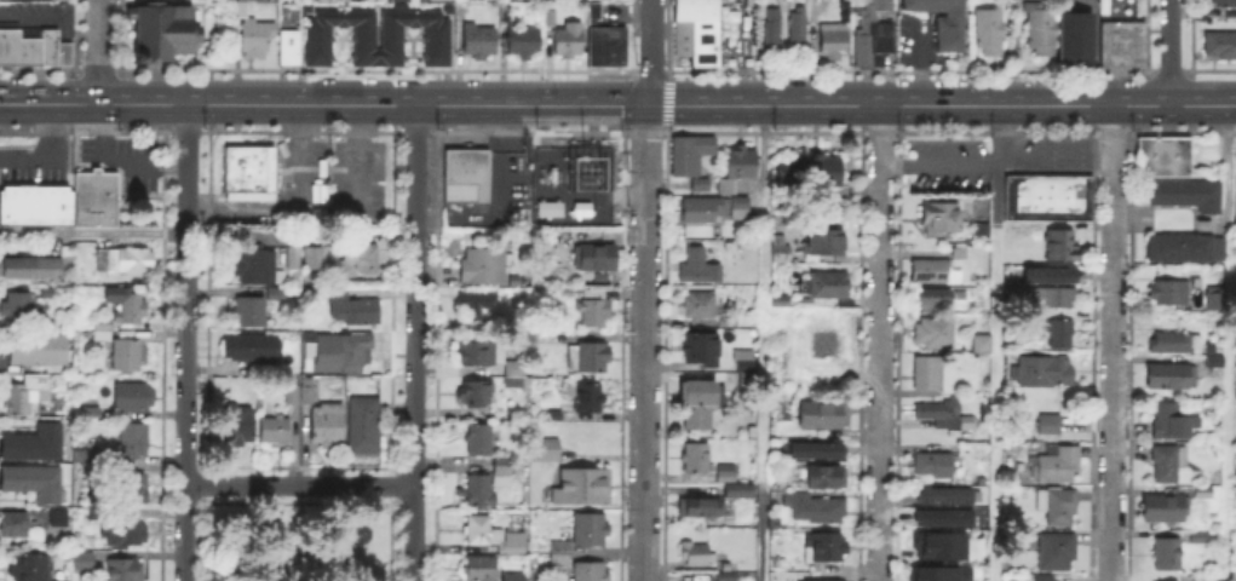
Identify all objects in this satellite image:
building: (59, 0)
building: (247, 1)
building: (10, 4)
building: (1223, 5)
building: (304, 6)
building: (445, 7)
building: (242, 11)
building: (505, 11)
building: (551, 19)
building: (945, 23)
building: (794, 24)
building: (769, 25)
building: (1037, 25)
building: (163, 31)
building: (699, 33)
building: (874, 33)
building: (993, 35)
building: (1073, 38)
building: (258, 39)
building: (829, 39)
building: (437, 40)
building: (482, 42)
building: (569, 42)
building: (522, 44)
building: (605, 45)
building: (1126, 47)
building: (33, 48)
building: (1219, 48)
road: (97, 51)
building: (291, 51)
road: (651, 52)
road: (1171, 52)
road: (918, 69)
road: (133, 92)
road: (680, 94)
road: (738, 104)
road: (324, 105)
road: (1000, 105)
road: (682, 114)
road: (510, 153)
road: (764, 154)
building: (691, 156)
building: (1167, 159)
building: (742, 165)
road: (1228, 165)
building: (249, 173)
building: (810, 173)
road: (994, 174)
building: (467, 179)
building: (702, 185)
building: (728, 188)
building: (1235, 195)
building: (1045, 196)
building: (1188, 197)
building: (64, 205)
building: (740, 208)
building: (702, 211)
building: (937, 215)
building: (977, 230)
road: (322, 234)
building: (827, 243)
building: (1062, 246)
building: (1186, 248)
building: (781, 254)
building: (958, 255)
building: (294, 259)
building: (315, 259)
building: (597, 260)
building: (125, 261)
building: (360, 261)
building: (253, 266)
building: (484, 266)
building: (700, 268)
building: (36, 269)
building: (930, 271)
building: (1050, 278)
building: (828, 286)
building: (1169, 293)
building: (276, 295)
building: (933, 299)
building: (1056, 299)
building: (1217, 300)
building: (782, 303)
building: (477, 305)
building: (701, 307)
building: (18, 309)
building: (130, 310)
building: (355, 311)
building: (594, 312)
building: (251, 313)
building: (1034, 318)
building: (729, 321)
building: (104, 333)
building: (936, 334)
building: (1060, 334)
road: (185, 343)
road: (415, 343)
road: (645, 343)
road: (763, 343)
road: (879, 343)
road: (1111, 343)
building: (1175, 344)
building: (832, 345)
building: (983, 345)
building: (39, 350)
building: (252, 350)
building: (702, 351)
building: (338, 353)
building: (479, 355)
building: (127, 357)
building: (591, 358)
building: (1215, 358)
building: (746, 362)
building: (1046, 372)
building: (806, 375)
building: (929, 375)
building: (517, 378)
building: (1171, 378)
building: (306, 392)
building: (476, 393)
building: (24, 396)
building: (293, 396)
building: (588, 397)
building: (132, 398)
road: (1228, 402)
building: (701, 403)
building: (938, 410)
building: (88, 413)
road: (993, 413)
building: (823, 415)
building: (1167, 421)
building: (970, 422)
building: (327, 426)
building: (1050, 426)
building: (366, 427)
building: (238, 428)
building: (276, 431)
building: (134, 439)
building: (479, 441)
building: (35, 445)
building: (548, 451)
building: (815, 451)
building: (696, 459)
building: (1167, 464)
building: (1059, 466)
building: (935, 467)
building: (504, 473)
building: (726, 476)
building: (827, 479)
building: (33, 483)
road: (300, 484)
building: (76, 489)
building: (132, 489)
building: (582, 489)
building: (479, 491)
building: (741, 491)
building: (1203, 494)
building: (941, 495)
building: (1058, 507)
building: (1166, 508)
building: (703, 510)
building: (816, 510)
building: (939, 516)
building: (59, 519)
building: (15, 525)
building: (590, 531)
road: (760, 531)
building: (126, 534)
building: (1201, 537)
building: (496, 539)
park: (298, 542)
building: (936, 543)
building: (826, 548)
building: (1058, 553)
building: (562, 554)
building: (1167, 554)
building: (699, 556)
building: (82, 563)
building: (28, 566)
building: (477, 566)
building: (729, 568)
building: (125, 570)
building: (591, 571)
building: (937, 573)
building: (510, 575)
building: (726, 577)
building: (1046, 577)
building: (817, 579)
building: (1161, 580)

